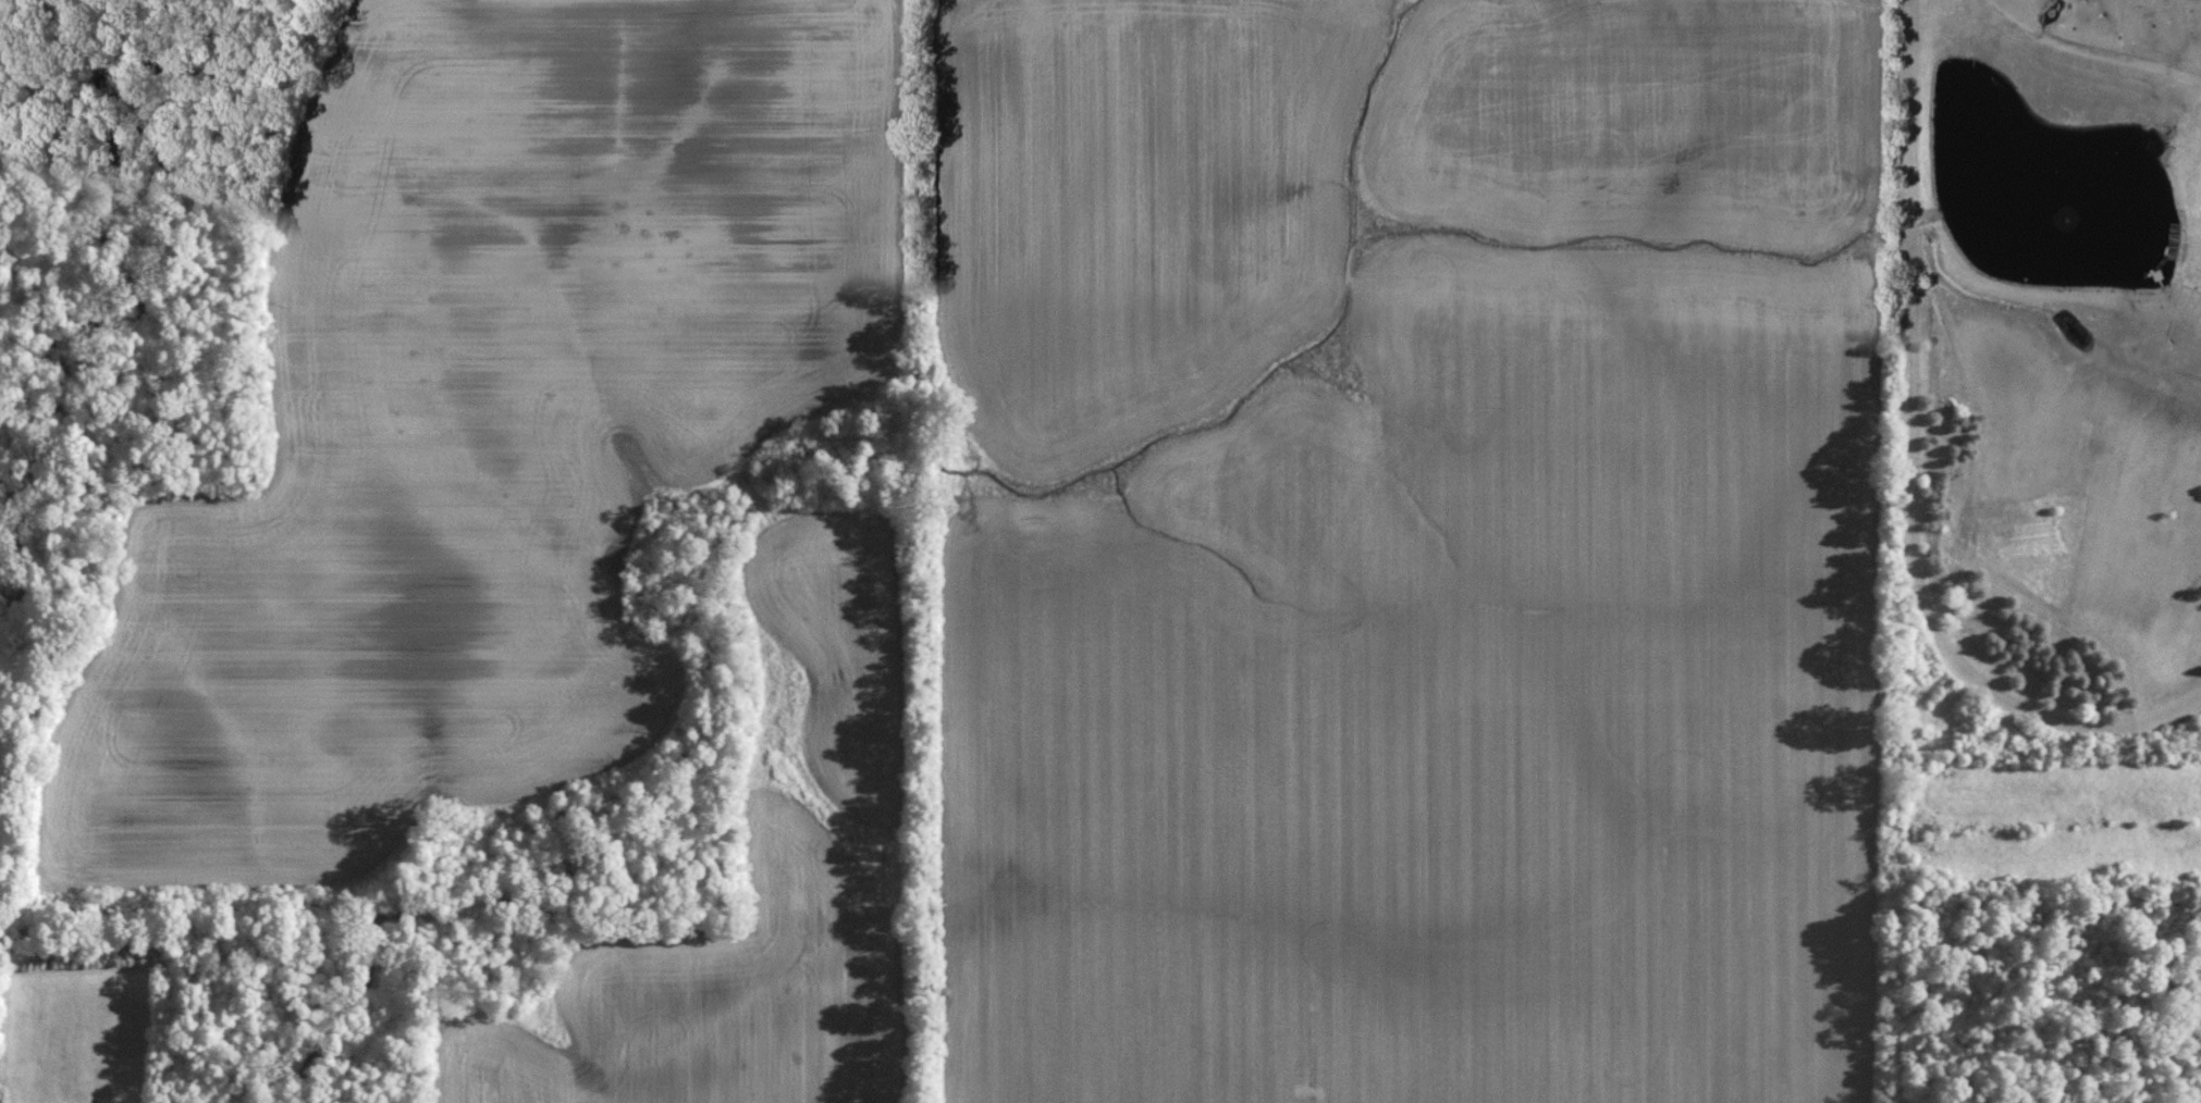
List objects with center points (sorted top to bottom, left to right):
road: (2107, 52)

